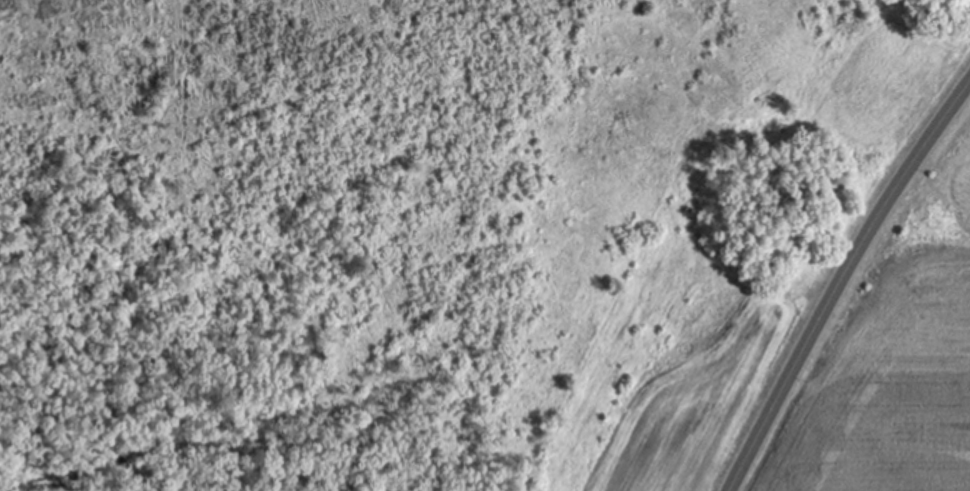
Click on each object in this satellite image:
road: (842, 283)

